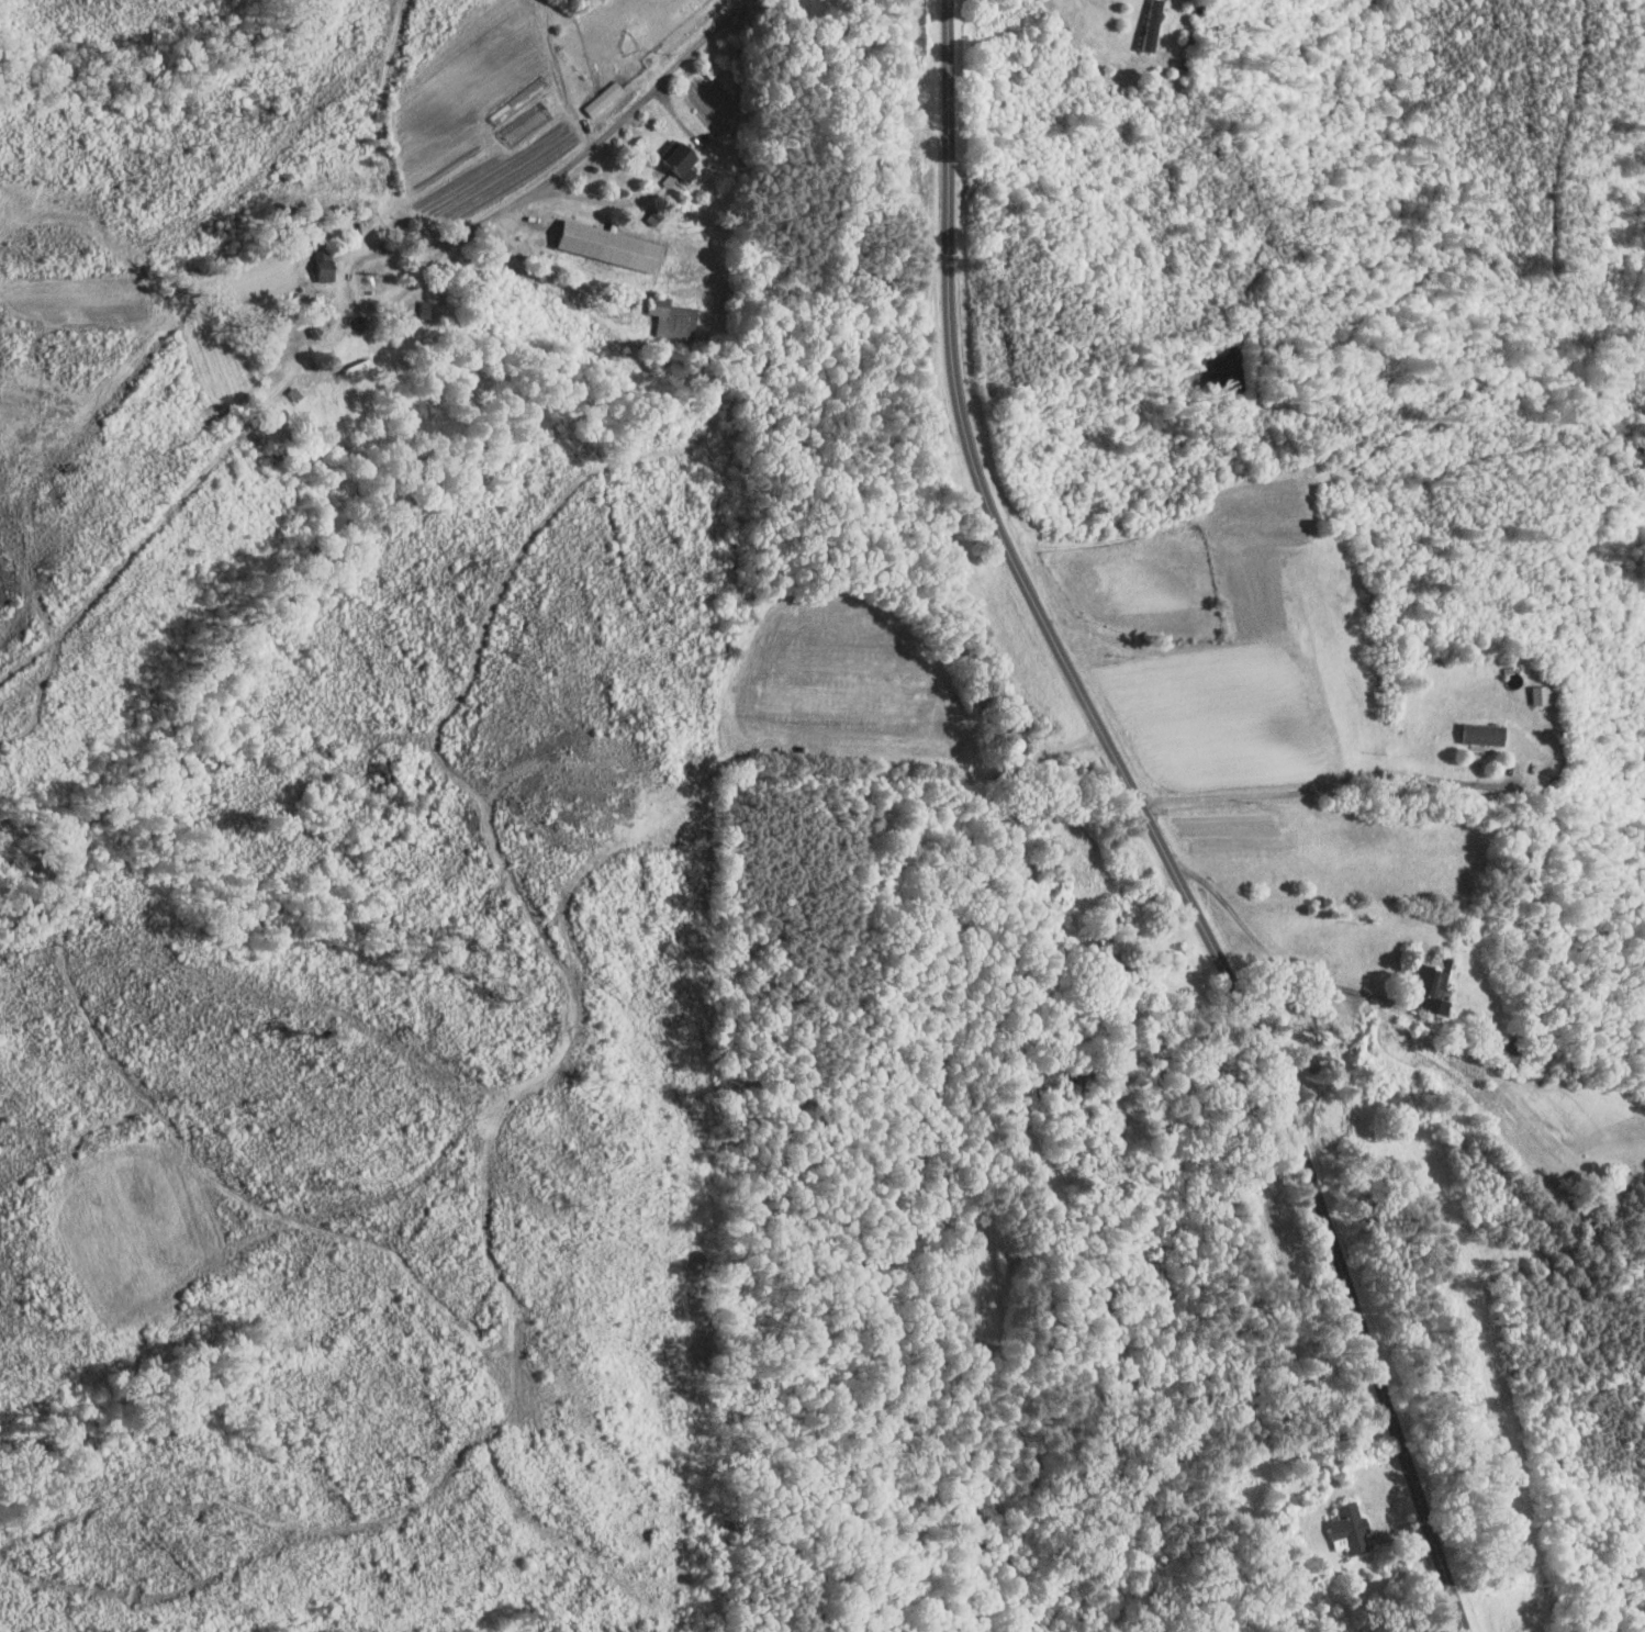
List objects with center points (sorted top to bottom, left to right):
building: (589, 92)
building: (514, 116)
road: (605, 133)
building: (669, 156)
building: (596, 241)
building: (413, 303)
building: (1538, 694)
building: (1481, 734)
road: (1310, 789)
road: (1149, 824)
building: (1432, 984)
building: (1356, 1532)

